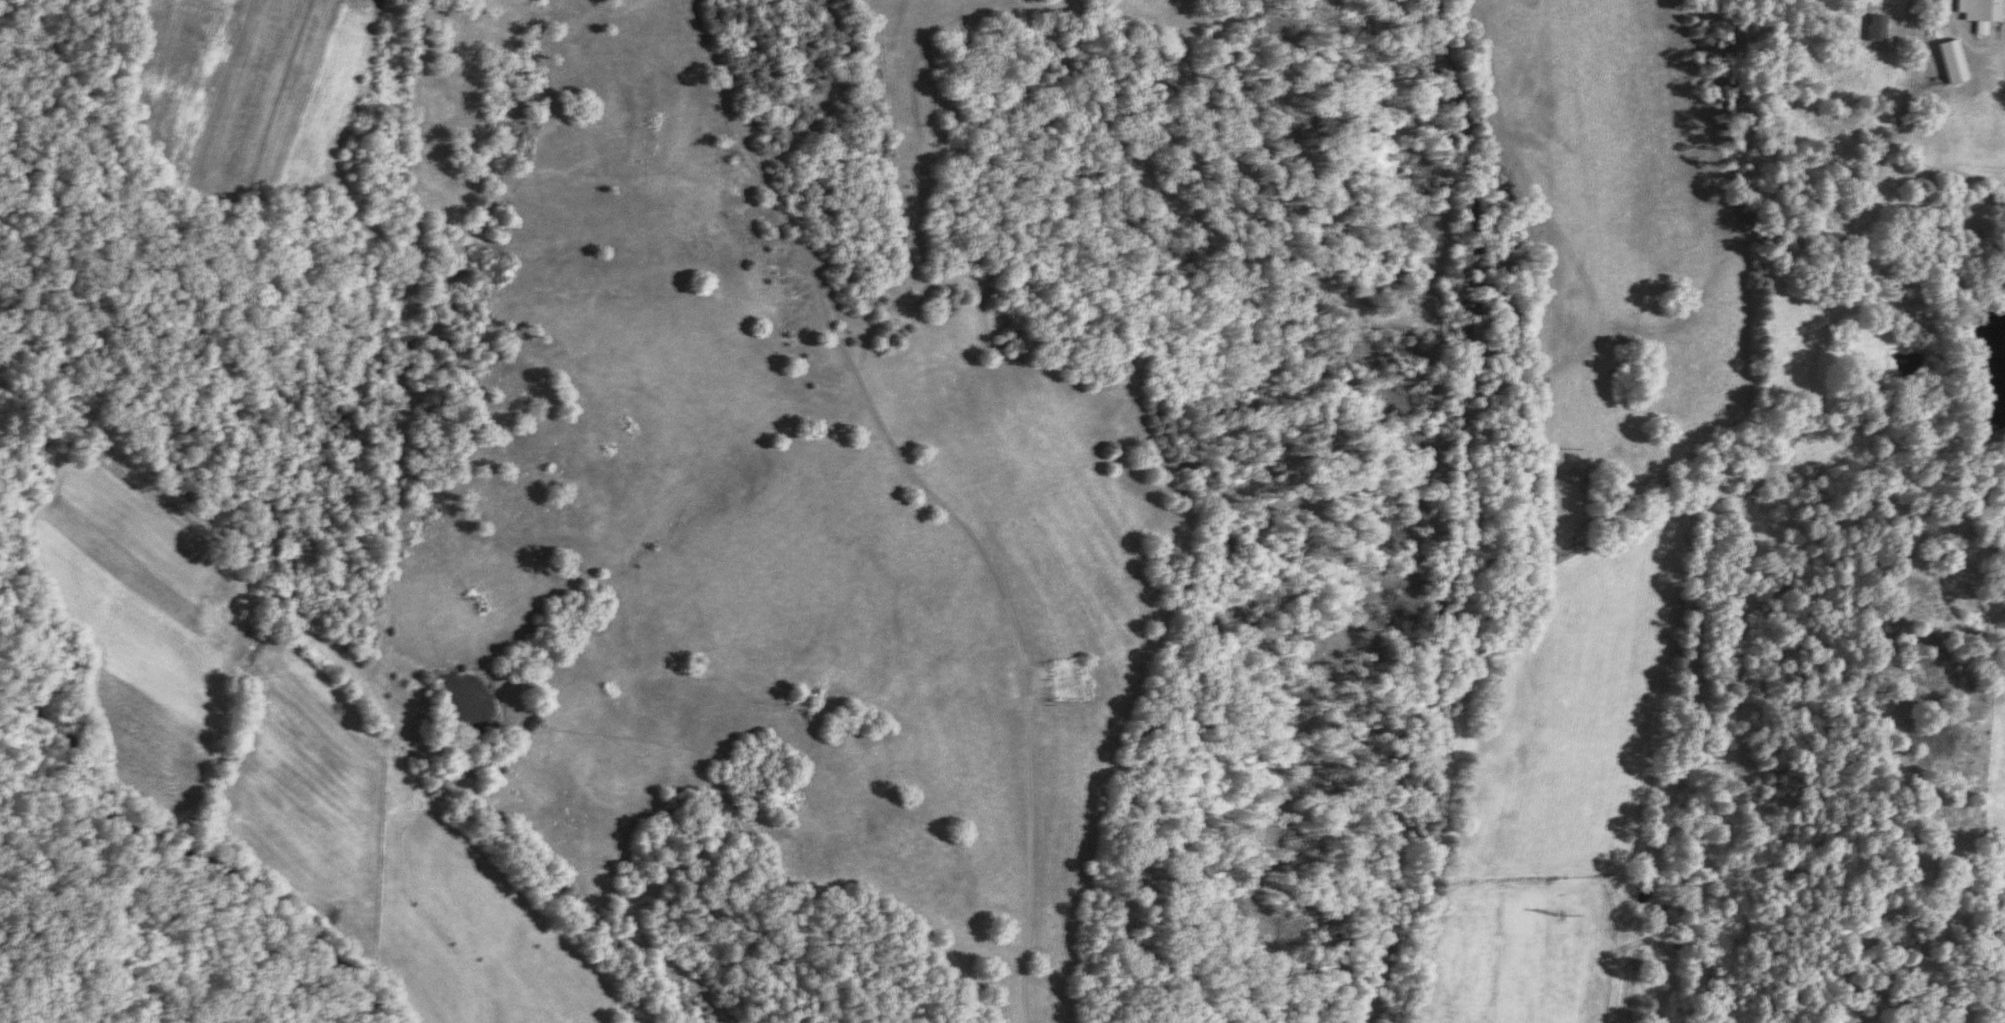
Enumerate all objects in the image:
building: (1982, 13)
road: (1971, 43)
power tower: (1563, 454)
power tower: (1566, 915)

